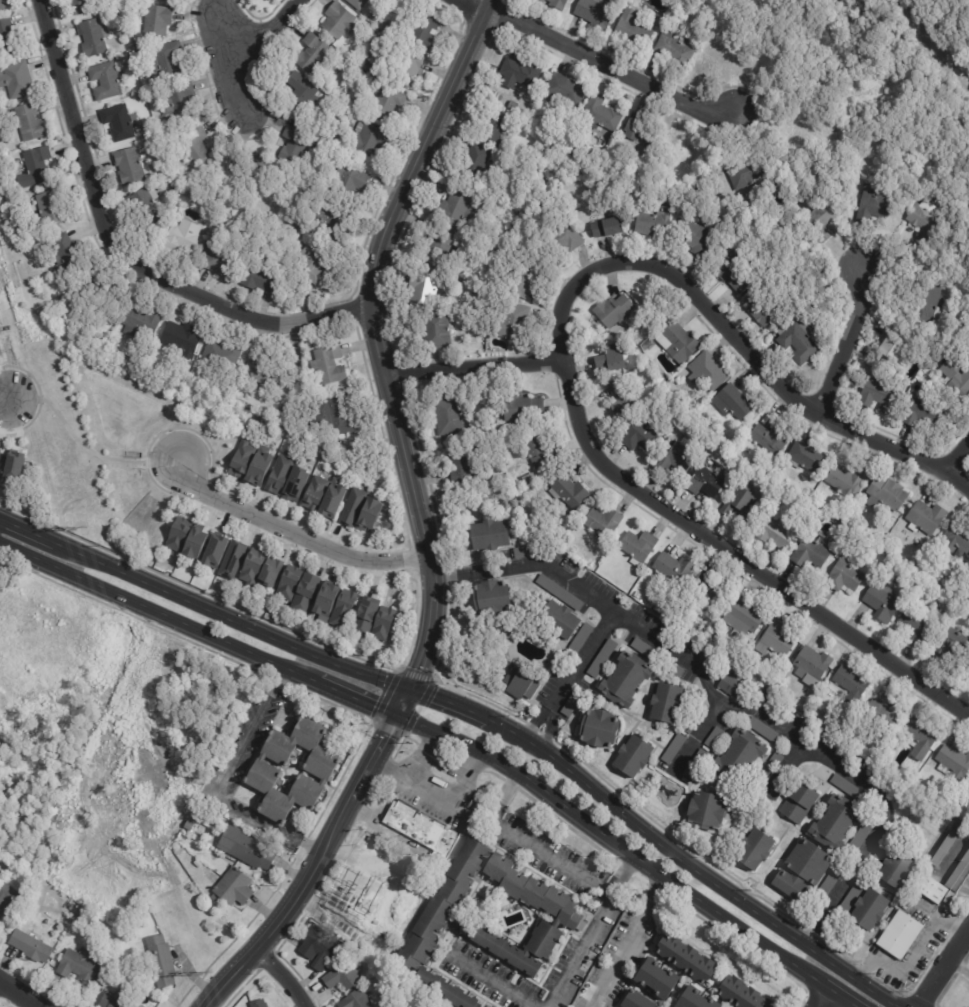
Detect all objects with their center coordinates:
building: (265, 0)
building: (267, 0)
building: (541, 1)
building: (6, 4)
building: (357, 4)
building: (557, 4)
building: (81, 6)
building: (596, 12)
building: (374, 17)
building: (156, 20)
building: (338, 21)
building: (383, 27)
road: (264, 30)
building: (633, 30)
building: (423, 31)
building: (367, 36)
building: (9, 38)
building: (92, 38)
building: (135, 45)
building: (369, 50)
building: (674, 50)
building: (310, 53)
building: (126, 55)
building: (119, 57)
building: (166, 61)
road: (603, 61)
road: (231, 64)
building: (364, 66)
building: (408, 69)
building: (371, 72)
building: (519, 73)
building: (154, 78)
building: (18, 79)
building: (104, 81)
building: (299, 91)
building: (563, 92)
building: (140, 98)
building: (179, 101)
building: (385, 102)
building: (512, 107)
building: (600, 114)
park: (942, 117)
building: (117, 122)
building: (33, 123)
building: (494, 130)
building: (643, 132)
building: (330, 136)
building: (367, 140)
building: (294, 146)
building: (195, 148)
building: (569, 149)
building: (474, 163)
building: (43, 164)
building: (127, 166)
building: (248, 169)
building: (163, 173)
building: (747, 173)
building: (350, 176)
building: (310, 180)
building: (292, 181)
building: (213, 203)
building: (874, 204)
building: (146, 205)
building: (57, 208)
building: (454, 208)
building: (333, 213)
building: (923, 221)
building: (820, 222)
building: (652, 224)
building: (296, 225)
building: (607, 228)
building: (6, 236)
building: (182, 236)
building: (566, 237)
building: (441, 239)
building: (701, 241)
building: (69, 255)
road: (117, 255)
building: (220, 260)
building: (310, 265)
building: (732, 274)
building: (102, 280)
building: (258, 280)
building: (525, 281)
building: (421, 287)
building: (927, 306)
building: (614, 311)
building: (760, 311)
building: (139, 322)
building: (510, 323)
building: (435, 330)
building: (180, 339)
building: (797, 342)
road: (847, 342)
building: (677, 343)
building: (890, 348)
building: (968, 353)
building: (220, 354)
building: (610, 360)
building: (327, 365)
road: (475, 368)
building: (862, 371)
building: (262, 372)
building: (707, 372)
building: (956, 376)
road: (782, 382)
building: (878, 395)
road: (5, 398)
building: (622, 398)
building: (732, 403)
building: (521, 408)
building: (920, 413)
building: (342, 414)
building: (703, 416)
building: (446, 417)
building: (321, 419)
building: (640, 435)
building: (769, 440)
road: (84, 447)
building: (537, 453)
building: (675, 458)
building: (805, 458)
road: (957, 458)
building: (241, 460)
building: (459, 462)
building: (259, 466)
building: (15, 468)
building: (278, 475)
building: (847, 482)
building: (705, 483)
building: (295, 484)
building: (568, 493)
building: (313, 494)
building: (885, 495)
building: (332, 501)
building: (739, 505)
building: (352, 508)
building: (369, 515)
building: (926, 518)
road: (420, 521)
building: (603, 523)
power tower: (80, 526)
road: (687, 527)
building: (775, 532)
road: (294, 533)
building: (178, 535)
building: (491, 536)
building: (956, 541)
building: (194, 544)
building: (638, 546)
building: (213, 551)
building: (522, 553)
building: (810, 554)
building: (231, 561)
building: (252, 567)
road: (549, 567)
building: (592, 567)
building: (672, 569)
building: (270, 572)
road: (453, 574)
building: (844, 577)
building: (288, 584)
building: (304, 594)
building: (558, 594)
building: (710, 594)
building: (638, 596)
building: (326, 599)
building: (492, 600)
building: (882, 603)
building: (656, 608)
building: (343, 609)
road: (160, 616)
building: (364, 618)
building: (743, 618)
building: (559, 621)
building: (383, 625)
building: (915, 626)
building: (696, 629)
building: (716, 638)
building: (581, 639)
building: (776, 640)
building: (951, 643)
building: (656, 658)
building: (602, 659)
building: (811, 665)
building: (756, 675)
building: (966, 675)
road: (570, 676)
road: (276, 680)
building: (626, 681)
building: (522, 683)
building: (851, 685)
building: (731, 686)
traffic signals: (406, 689)
road: (422, 694)
road: (359, 700)
building: (573, 703)
building: (666, 704)
building: (795, 705)
traffic signals: (396, 715)
building: (884, 716)
building: (692, 724)
building: (599, 730)
building: (762, 730)
road: (697, 734)
building: (921, 738)
building: (714, 739)
road: (815, 747)
building: (673, 749)
road: (419, 754)
building: (634, 757)
building: (740, 758)
building: (777, 760)
building: (953, 765)
building: (695, 766)
building: (265, 771)
building: (764, 778)
road: (220, 781)
road: (437, 791)
building: (849, 792)
building: (799, 804)
building: (707, 812)
building: (189, 826)
building: (835, 826)
building: (420, 828)
building: (859, 840)
road: (304, 845)
building: (246, 848)
building: (756, 851)
building: (943, 853)
road: (629, 855)
building: (376, 862)
building: (197, 864)
building: (804, 871)
building: (898, 871)
road: (622, 877)
road: (584, 878)
building: (866, 879)
building: (830, 883)
building: (928, 883)
building: (232, 887)
building: (7, 896)
building: (368, 900)
building: (69, 906)
building: (871, 911)
building: (89, 919)
building: (430, 921)
building: (581, 927)
building: (399, 933)
building: (901, 935)
building: (859, 942)
road: (628, 943)
building: (31, 948)
building: (319, 948)
building: (685, 958)
building: (160, 961)
building: (79, 965)
building: (590, 965)
road: (942, 965)
road: (957, 968)
power tower: (206, 971)
road: (850, 975)
road: (282, 976)
building: (340, 977)
building: (656, 979)
road: (489, 980)
building: (394, 983)
road: (19, 994)
building: (741, 994)
building: (372, 996)
road: (822, 997)
building: (694, 999)
building: (355, 1000)
building: (635, 1000)
building: (111, 1001)
building: (257, 1003)

